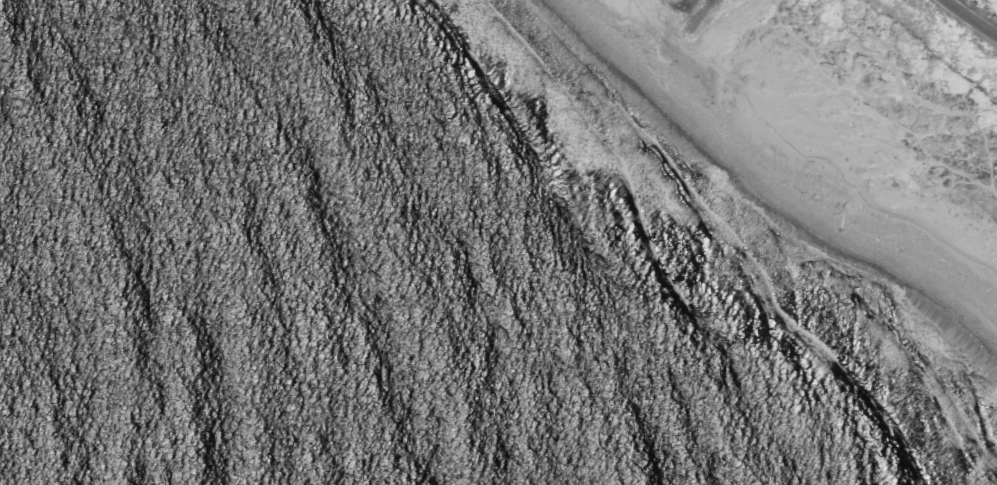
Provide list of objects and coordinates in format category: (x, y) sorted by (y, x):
railway: (970, 18)
park: (851, 104)
road: (804, 154)

